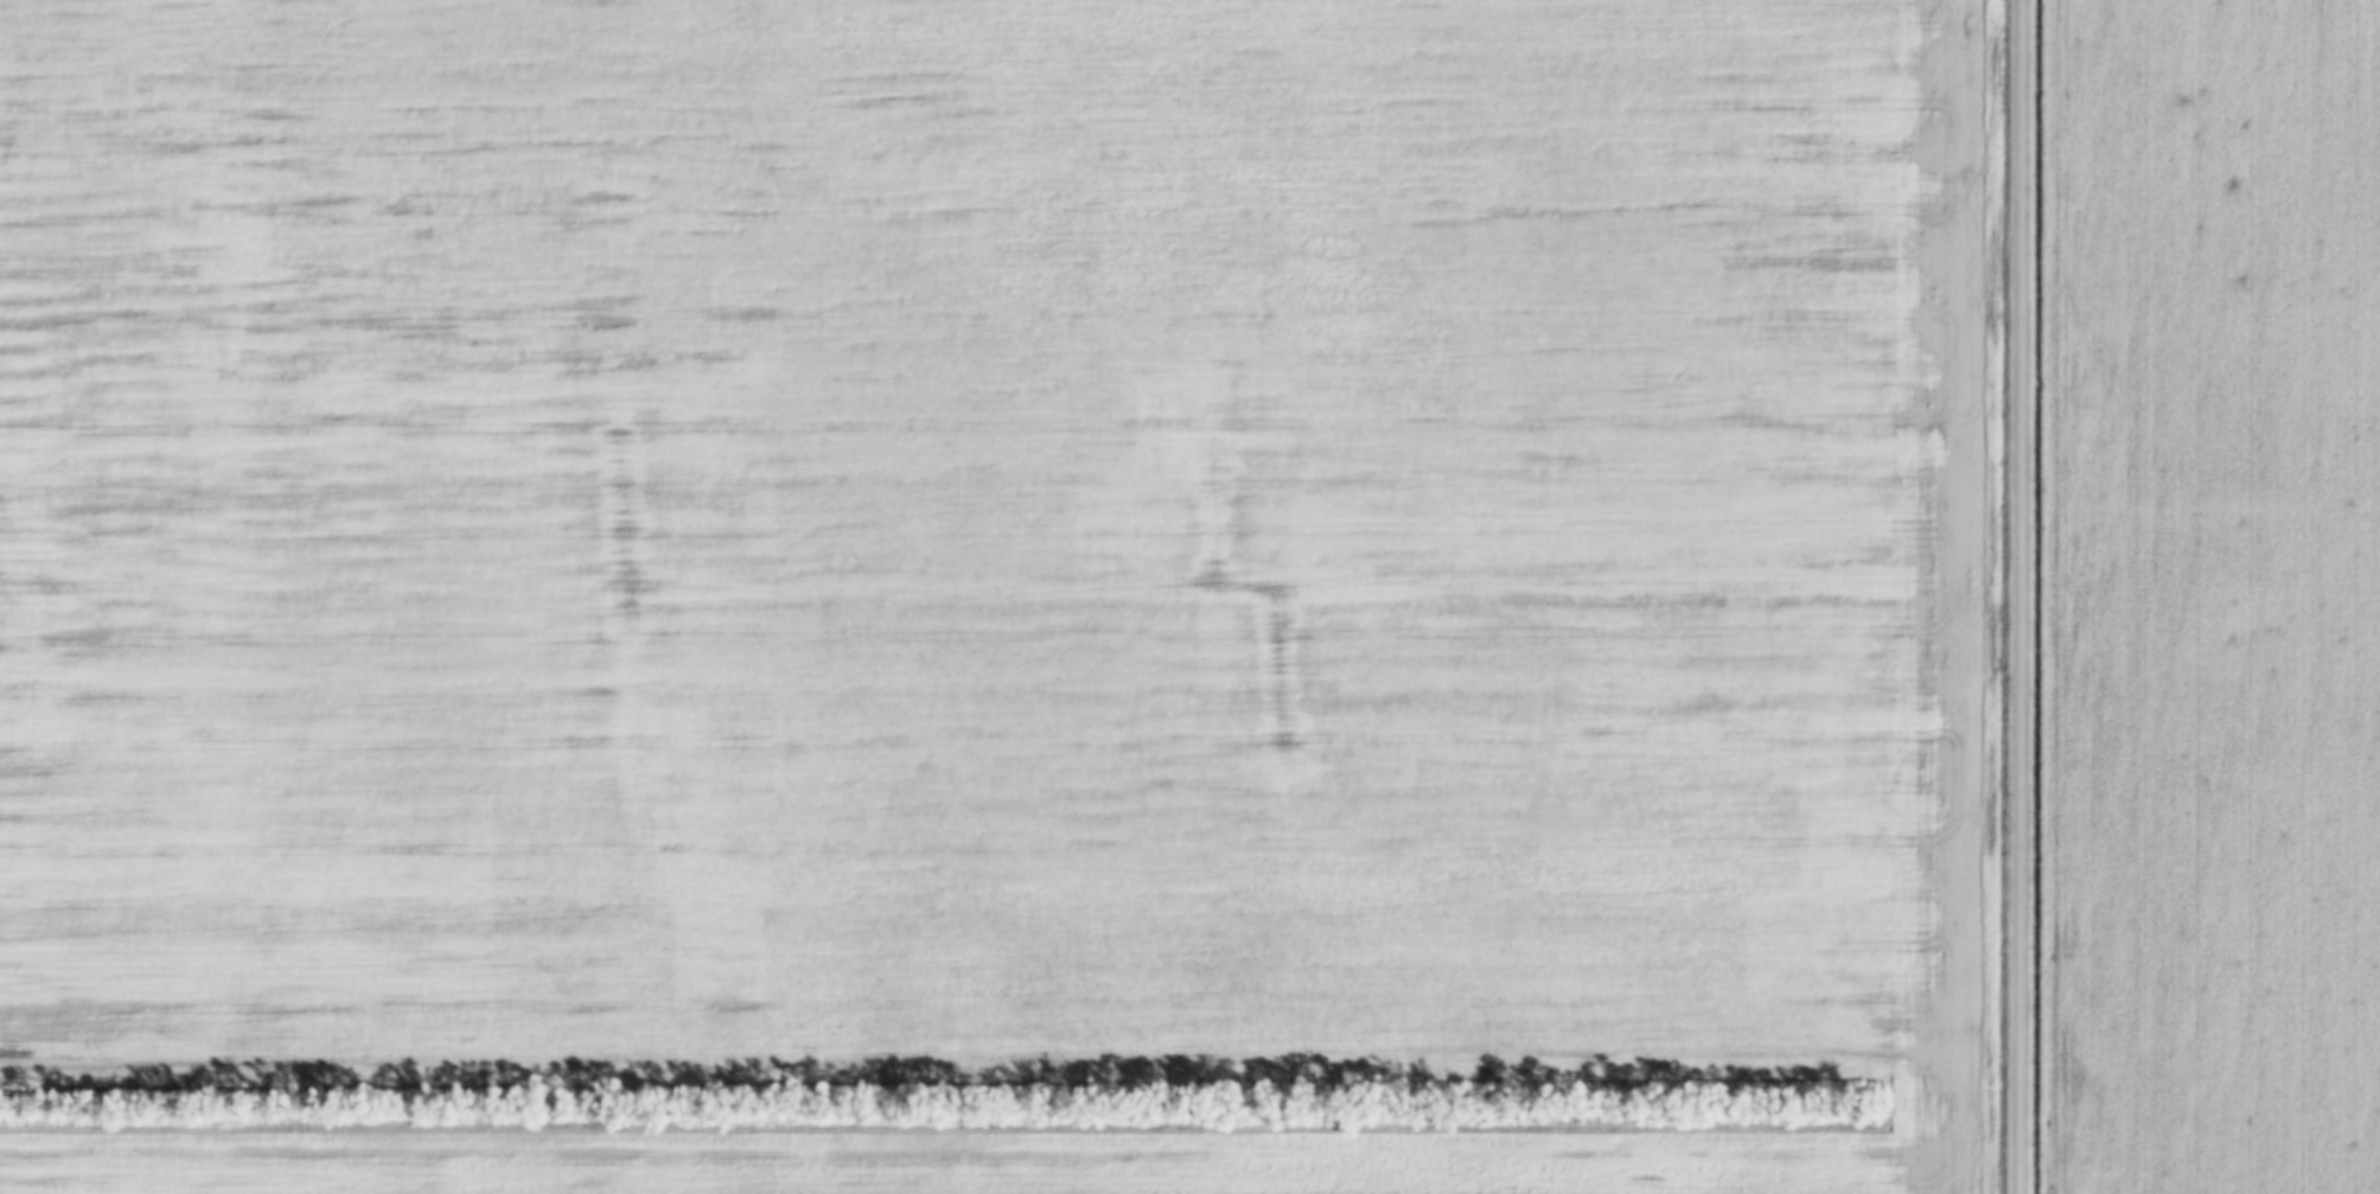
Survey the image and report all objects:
road: (2025, 596)

